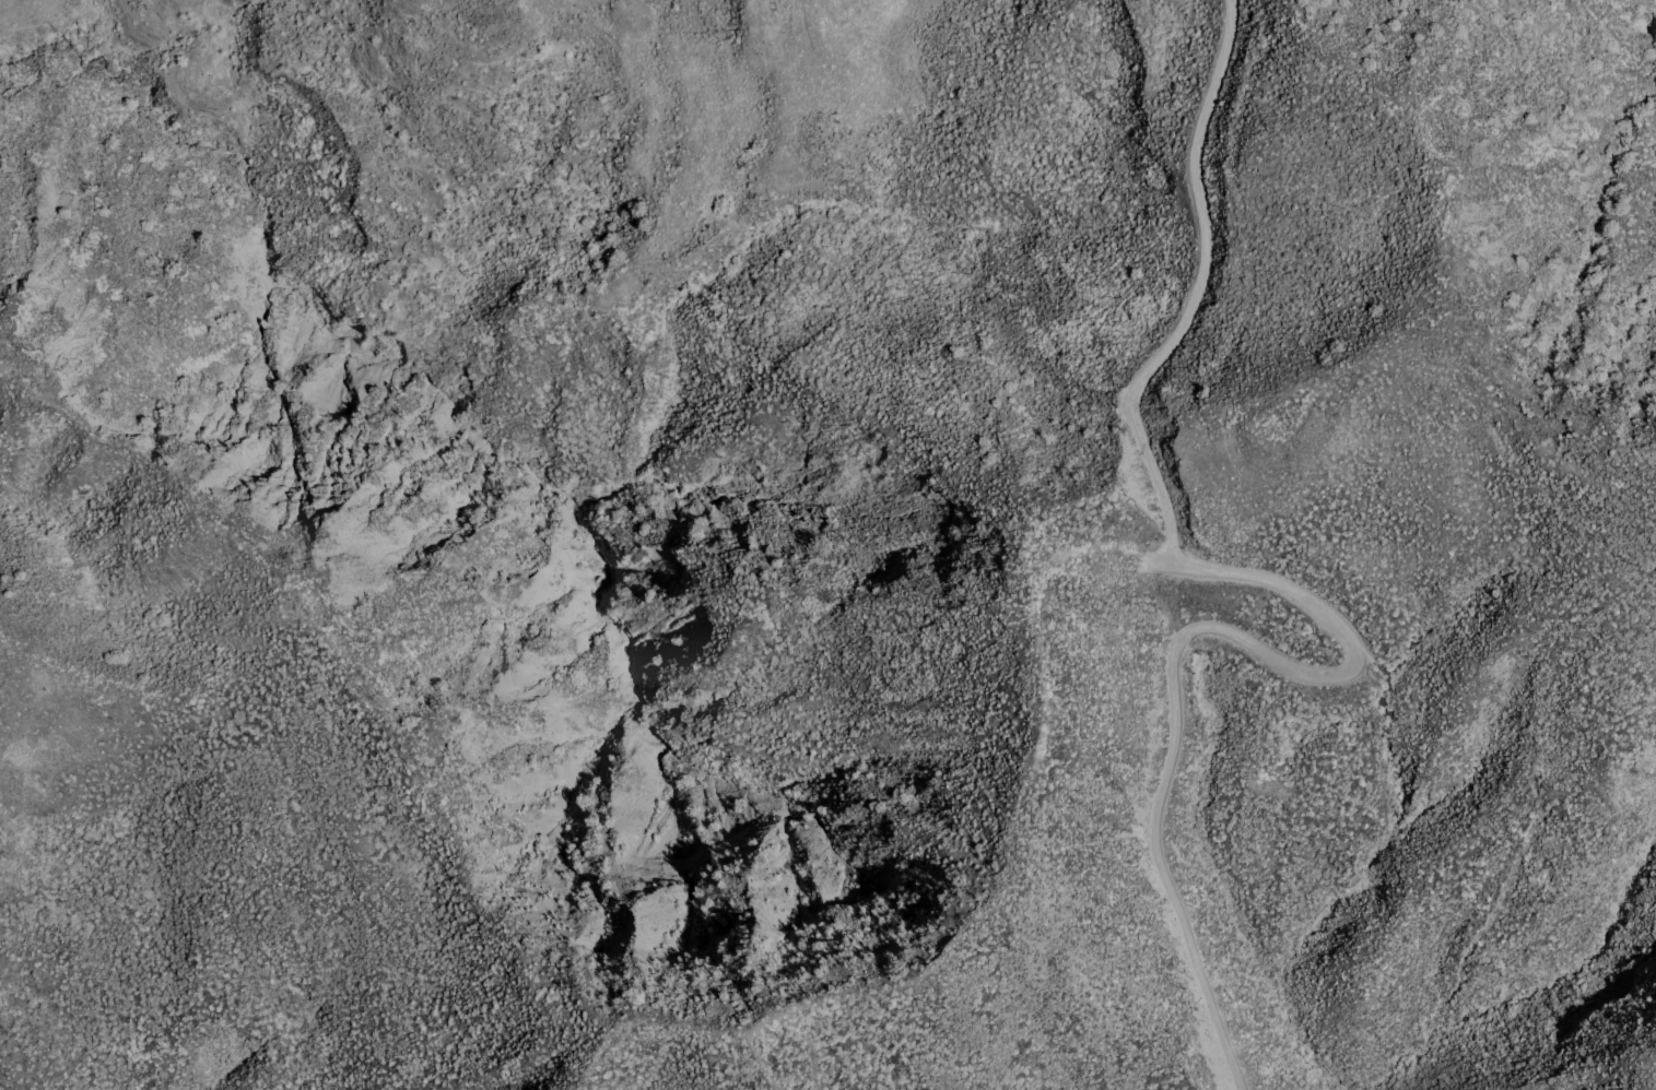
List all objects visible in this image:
road: (1307, 594)

